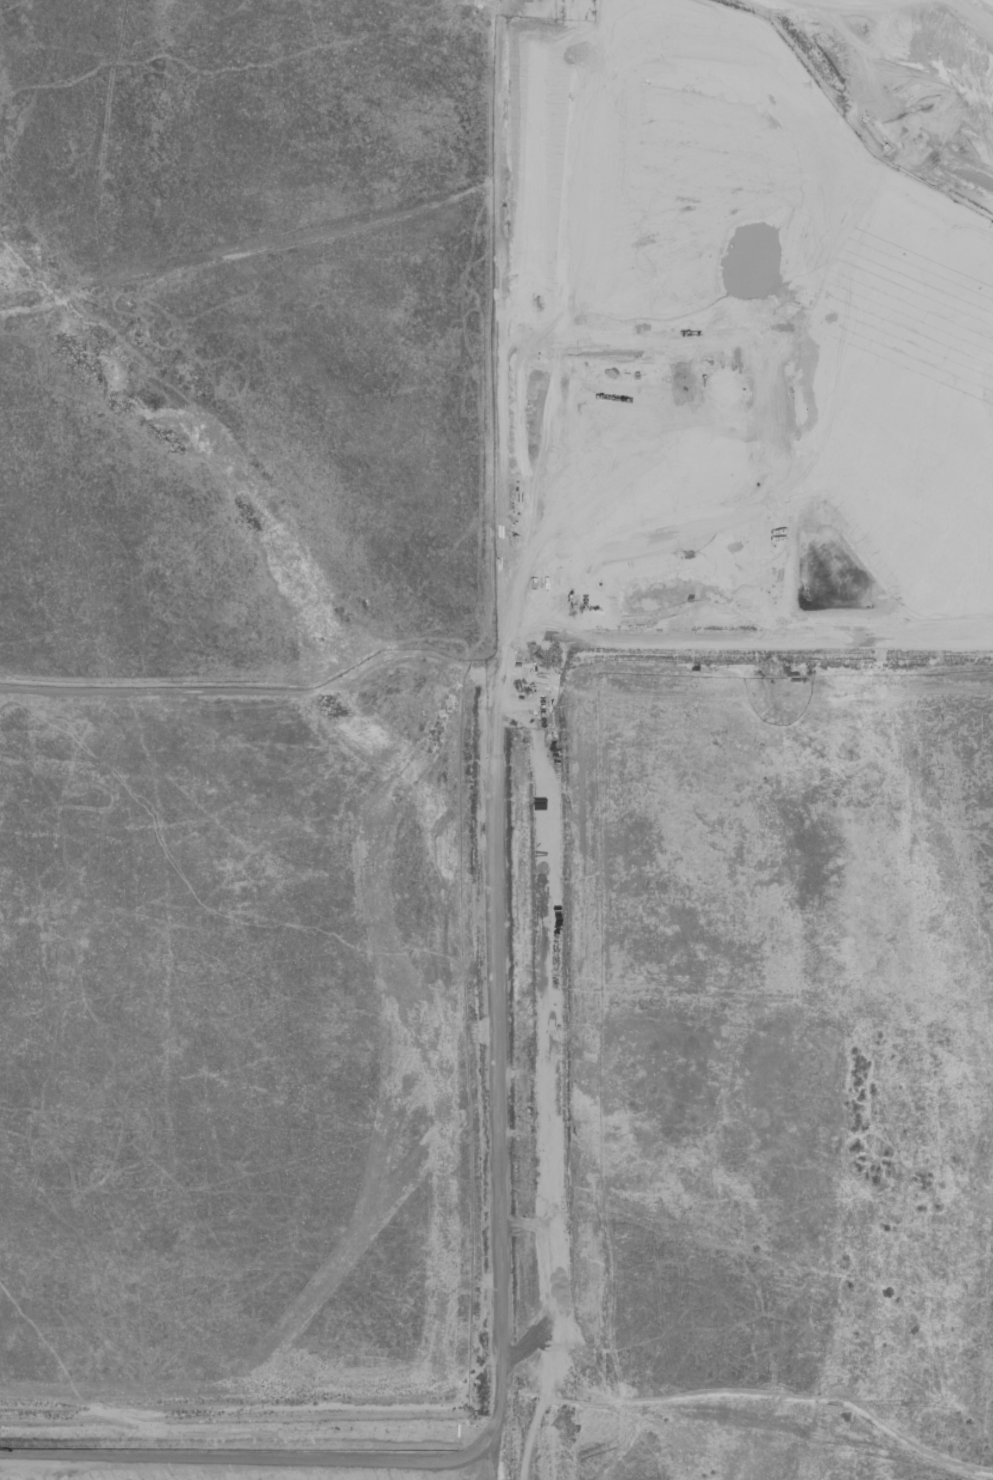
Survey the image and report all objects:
road: (254, 249)
road: (631, 347)
road: (768, 390)
road: (733, 643)
building: (789, 675)
road: (742, 678)
road: (250, 695)
road: (564, 1050)
road: (490, 1053)
road: (506, 1397)
road: (246, 1440)
road: (491, 1449)
road: (244, 1466)

